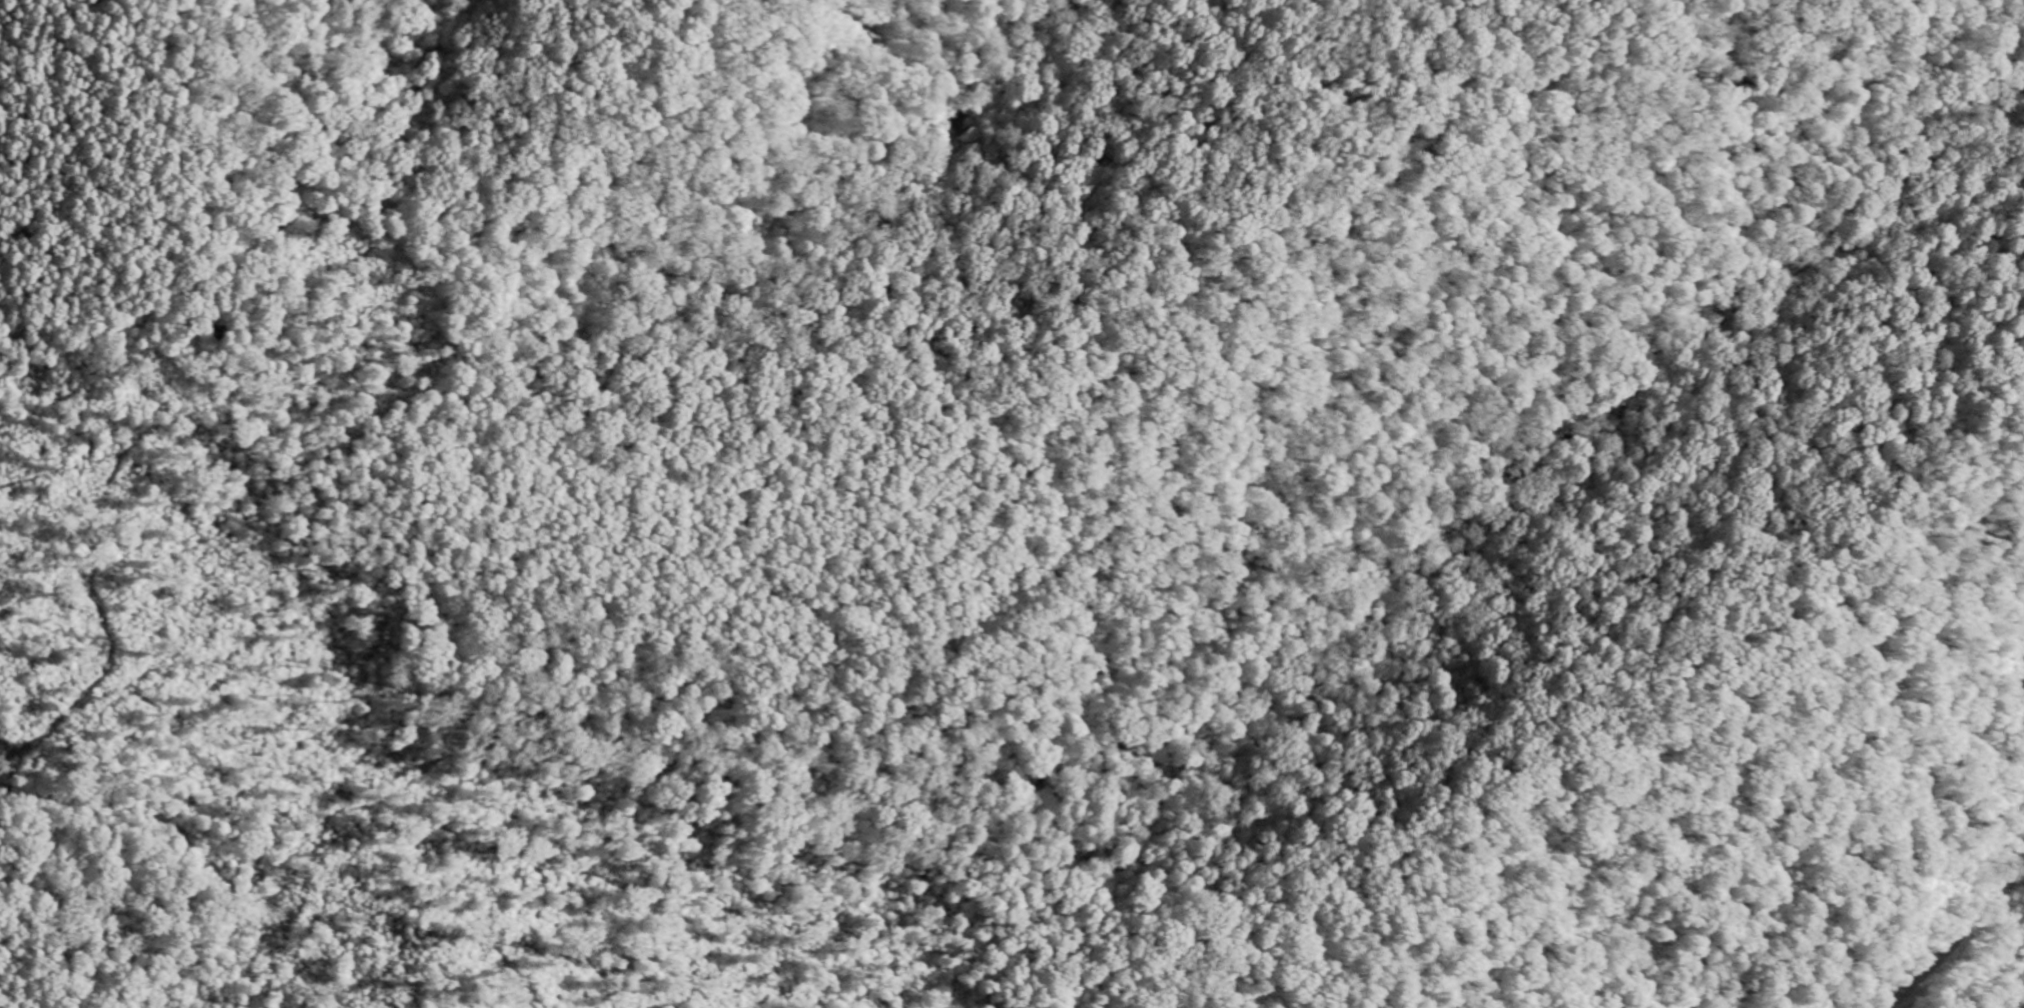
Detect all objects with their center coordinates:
road: (1960, 932)
road: (2013, 997)

